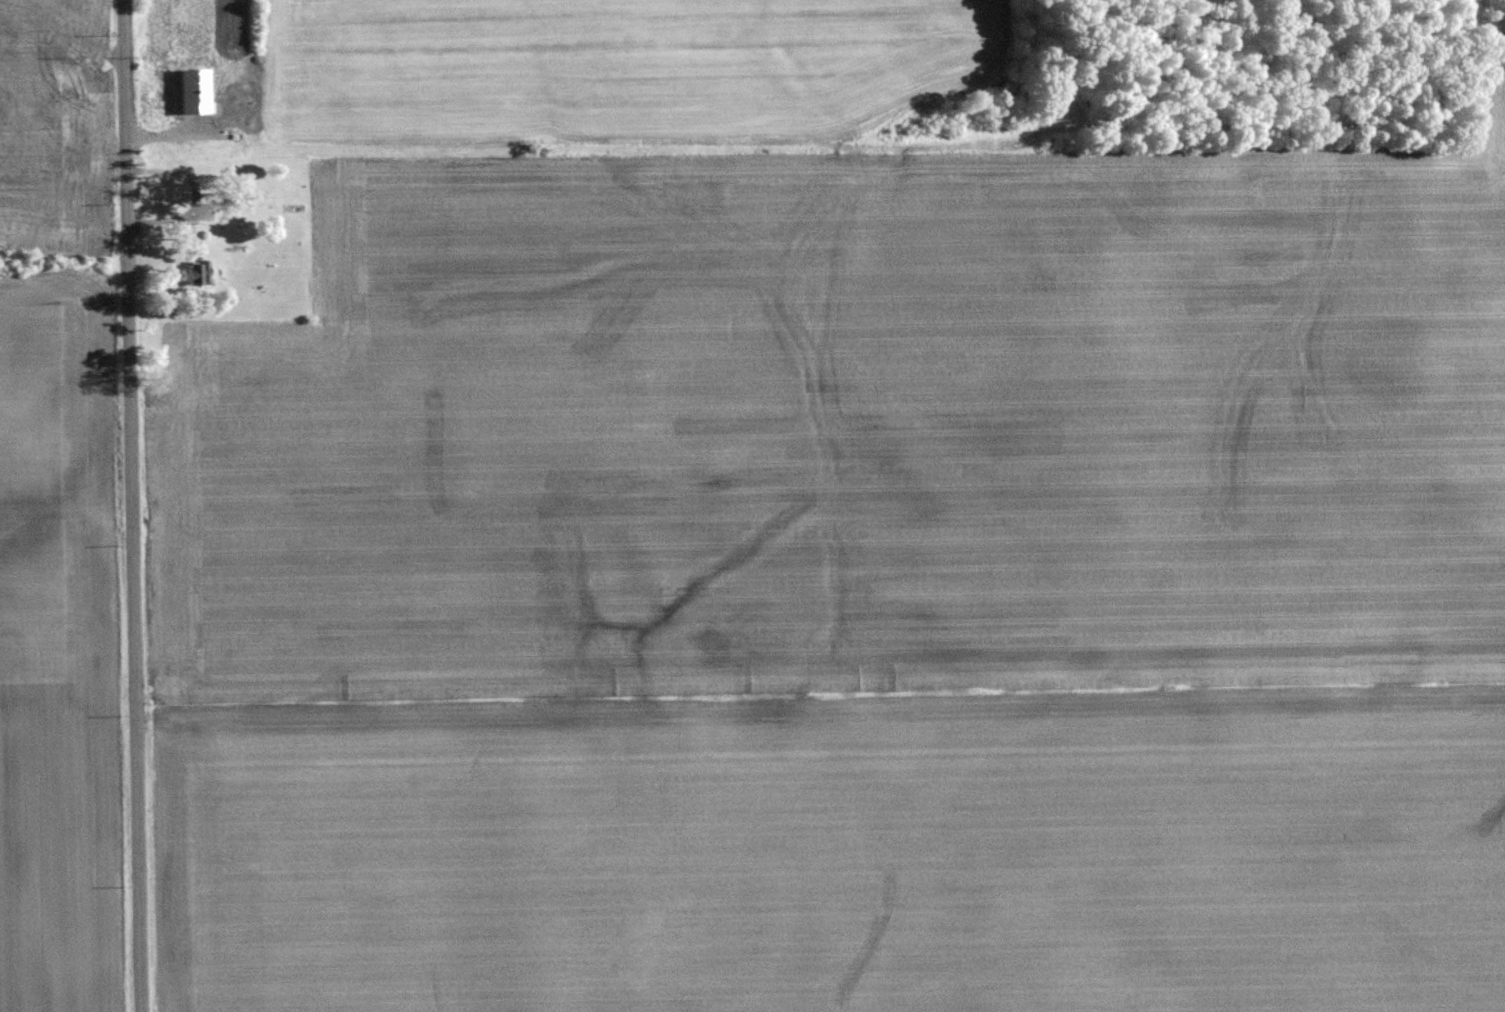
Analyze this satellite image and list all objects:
building: (195, 271)
road: (133, 505)

